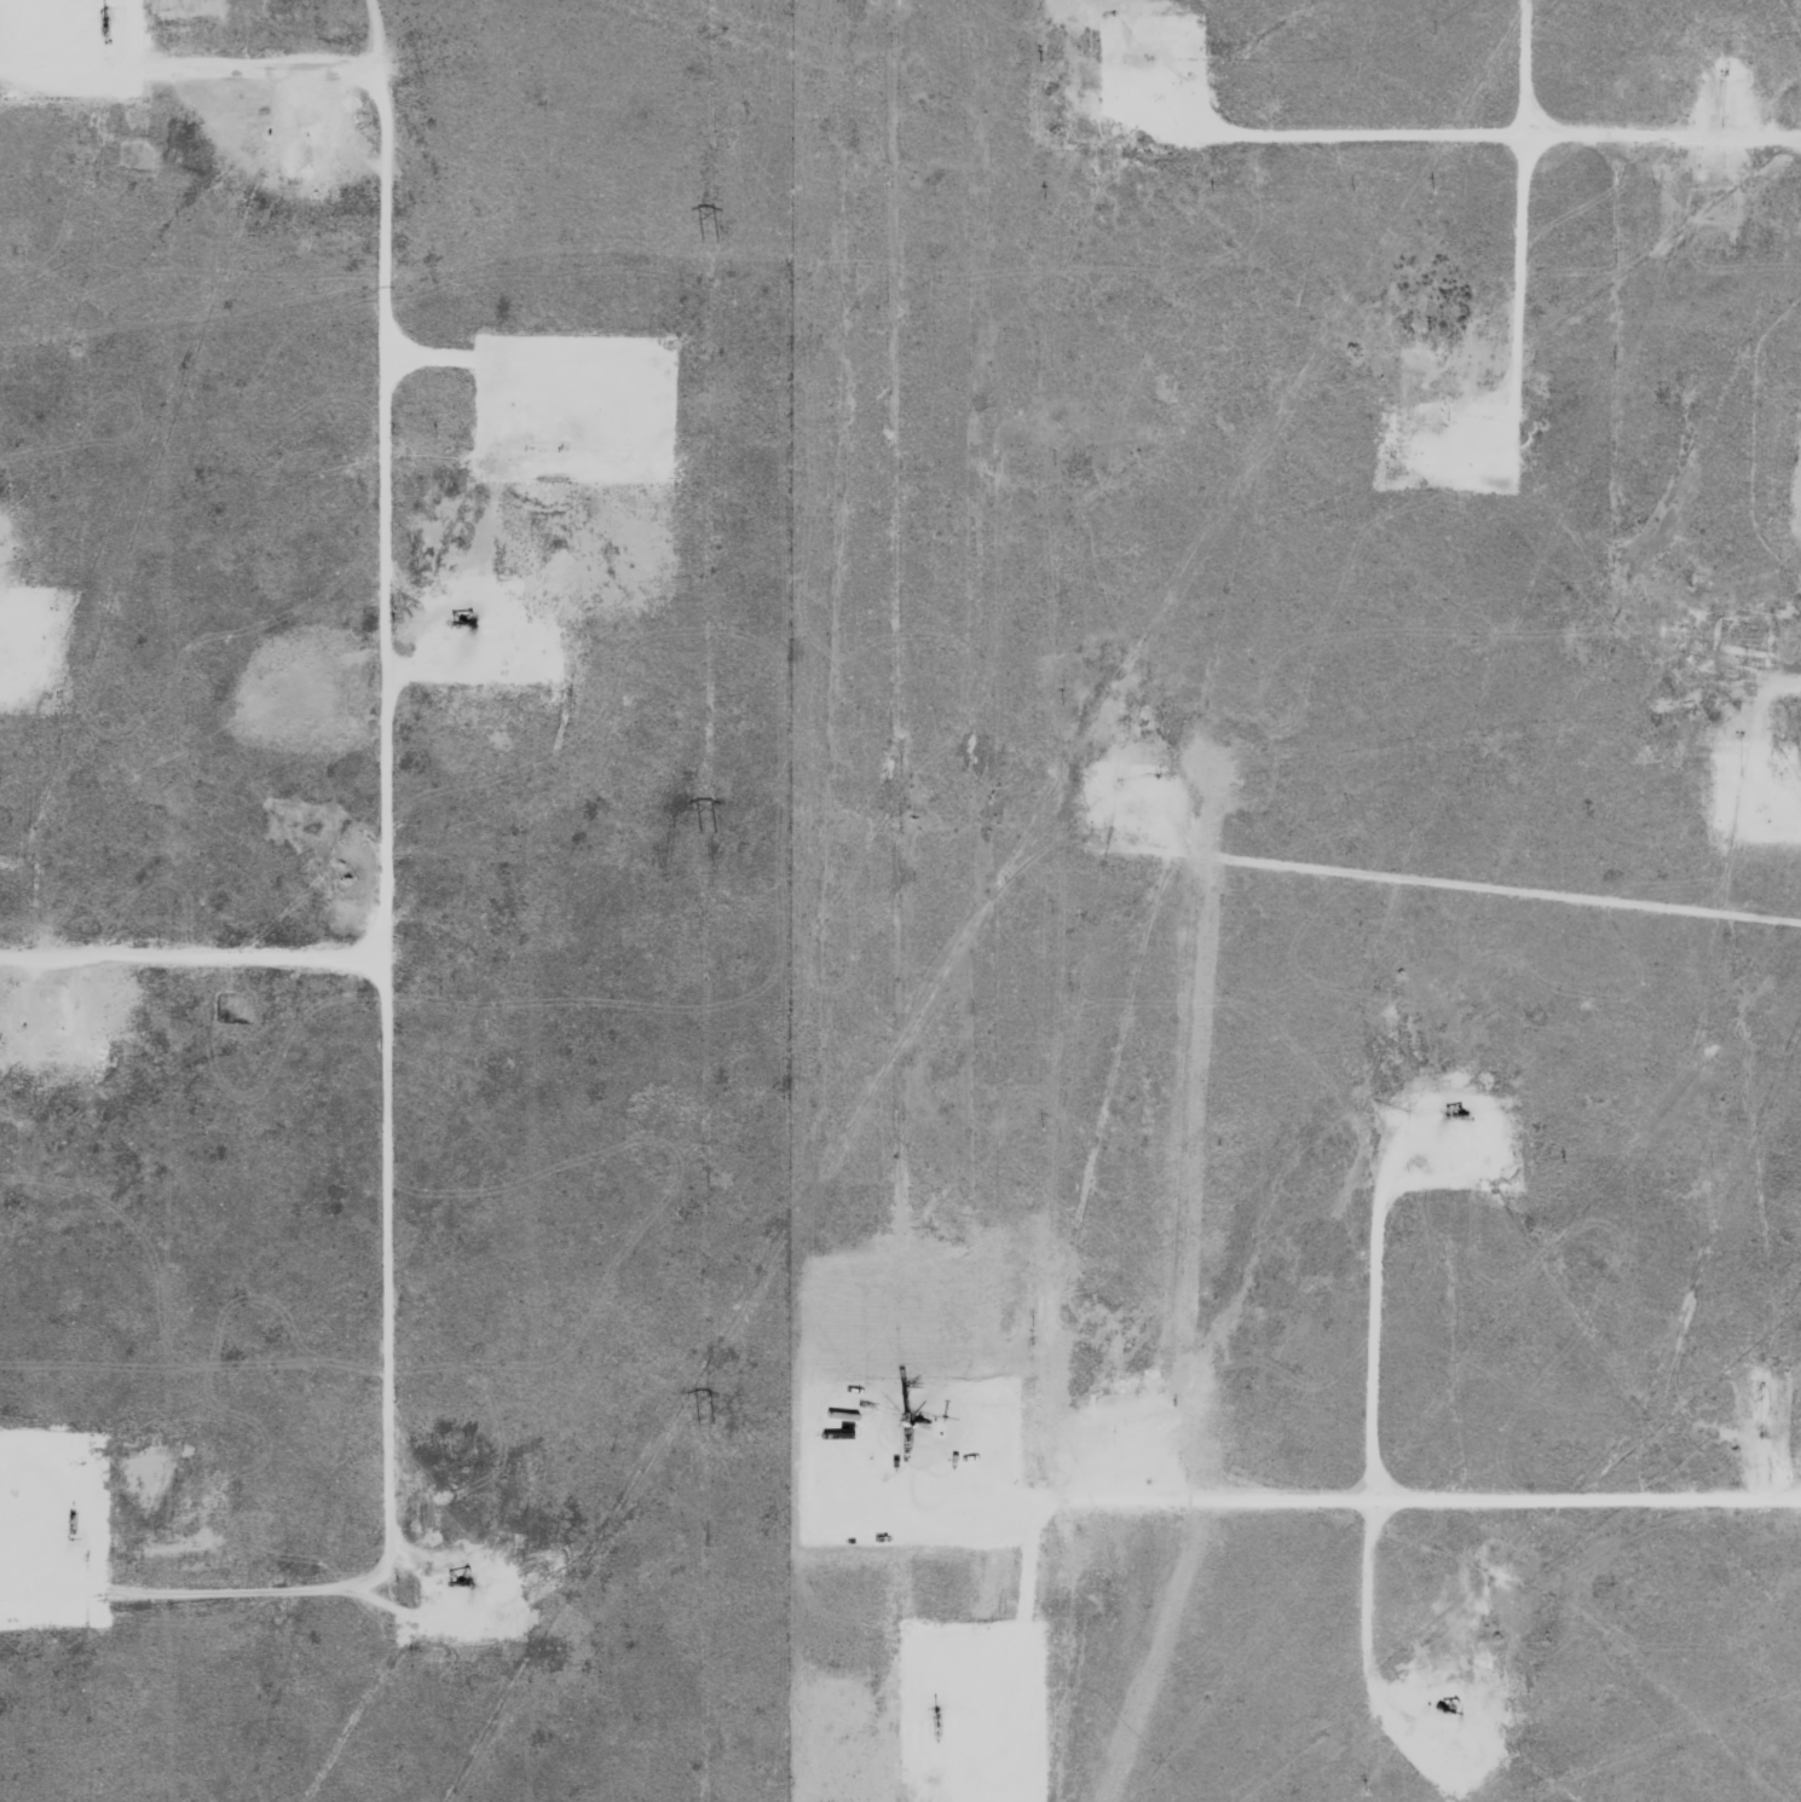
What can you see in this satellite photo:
road: (1497, 134)
power tower: (712, 237)
road: (417, 767)
power tower: (710, 831)
road: (1511, 888)
road: (213, 940)
power tower: (708, 1423)
road: (1455, 1509)

